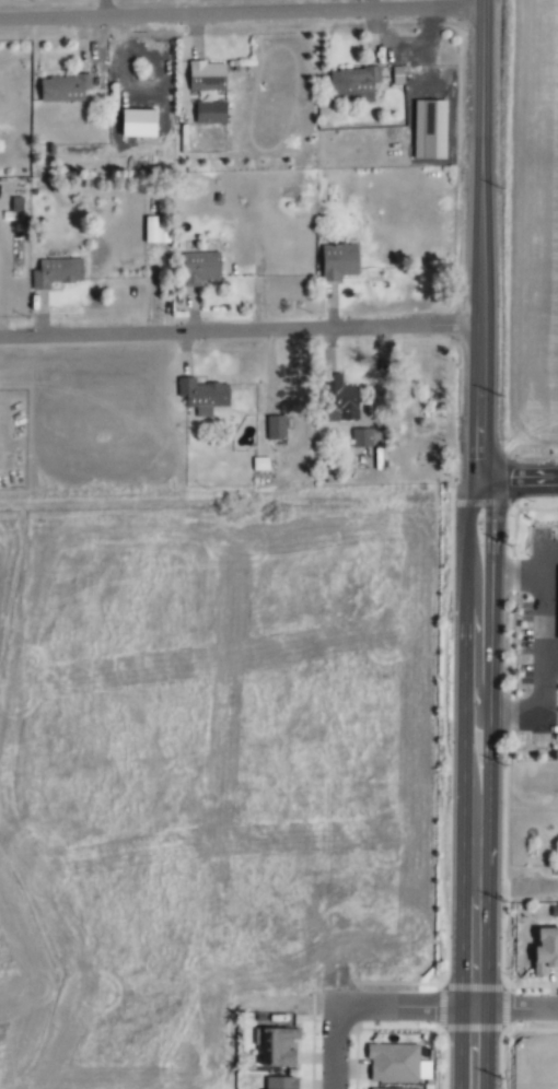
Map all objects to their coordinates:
road: (102, 9)
road: (241, 14)
building: (205, 75)
building: (352, 82)
building: (61, 87)
building: (206, 96)
building: (208, 113)
building: (427, 129)
building: (15, 208)
road: (481, 241)
building: (337, 261)
building: (198, 268)
building: (54, 272)
road: (240, 331)
building: (201, 396)
building: (336, 400)
building: (275, 428)
building: (360, 437)
building: (259, 464)
road: (519, 481)
road: (518, 577)
road: (465, 651)
road: (490, 651)
road: (544, 655)
road: (550, 656)
road: (475, 699)
road: (474, 912)
building: (544, 951)
road: (404, 1007)
road: (515, 1009)
road: (334, 1040)
building: (275, 1046)
road: (460, 1046)
road: (485, 1046)
building: (392, 1063)
building: (280, 1082)

